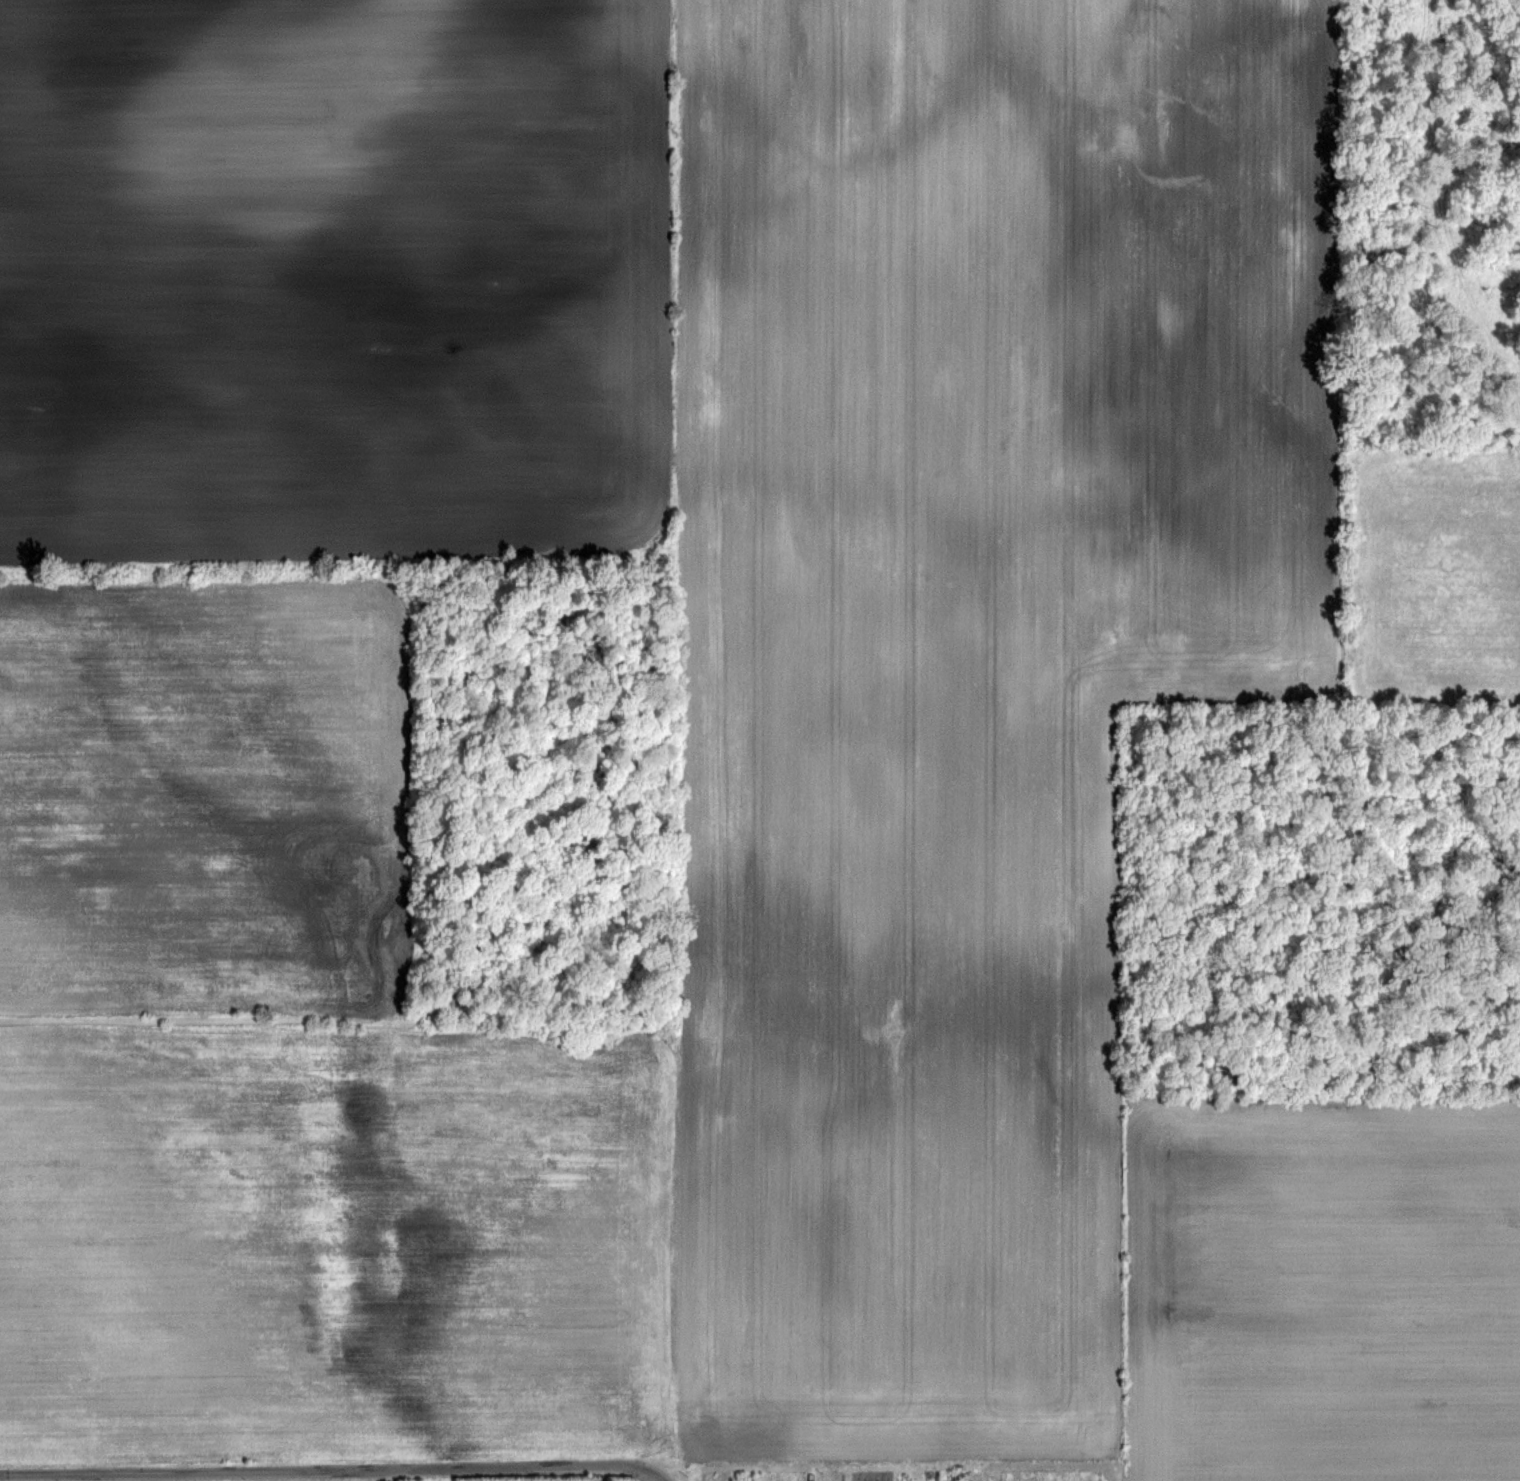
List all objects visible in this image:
road: (331, 1470)

